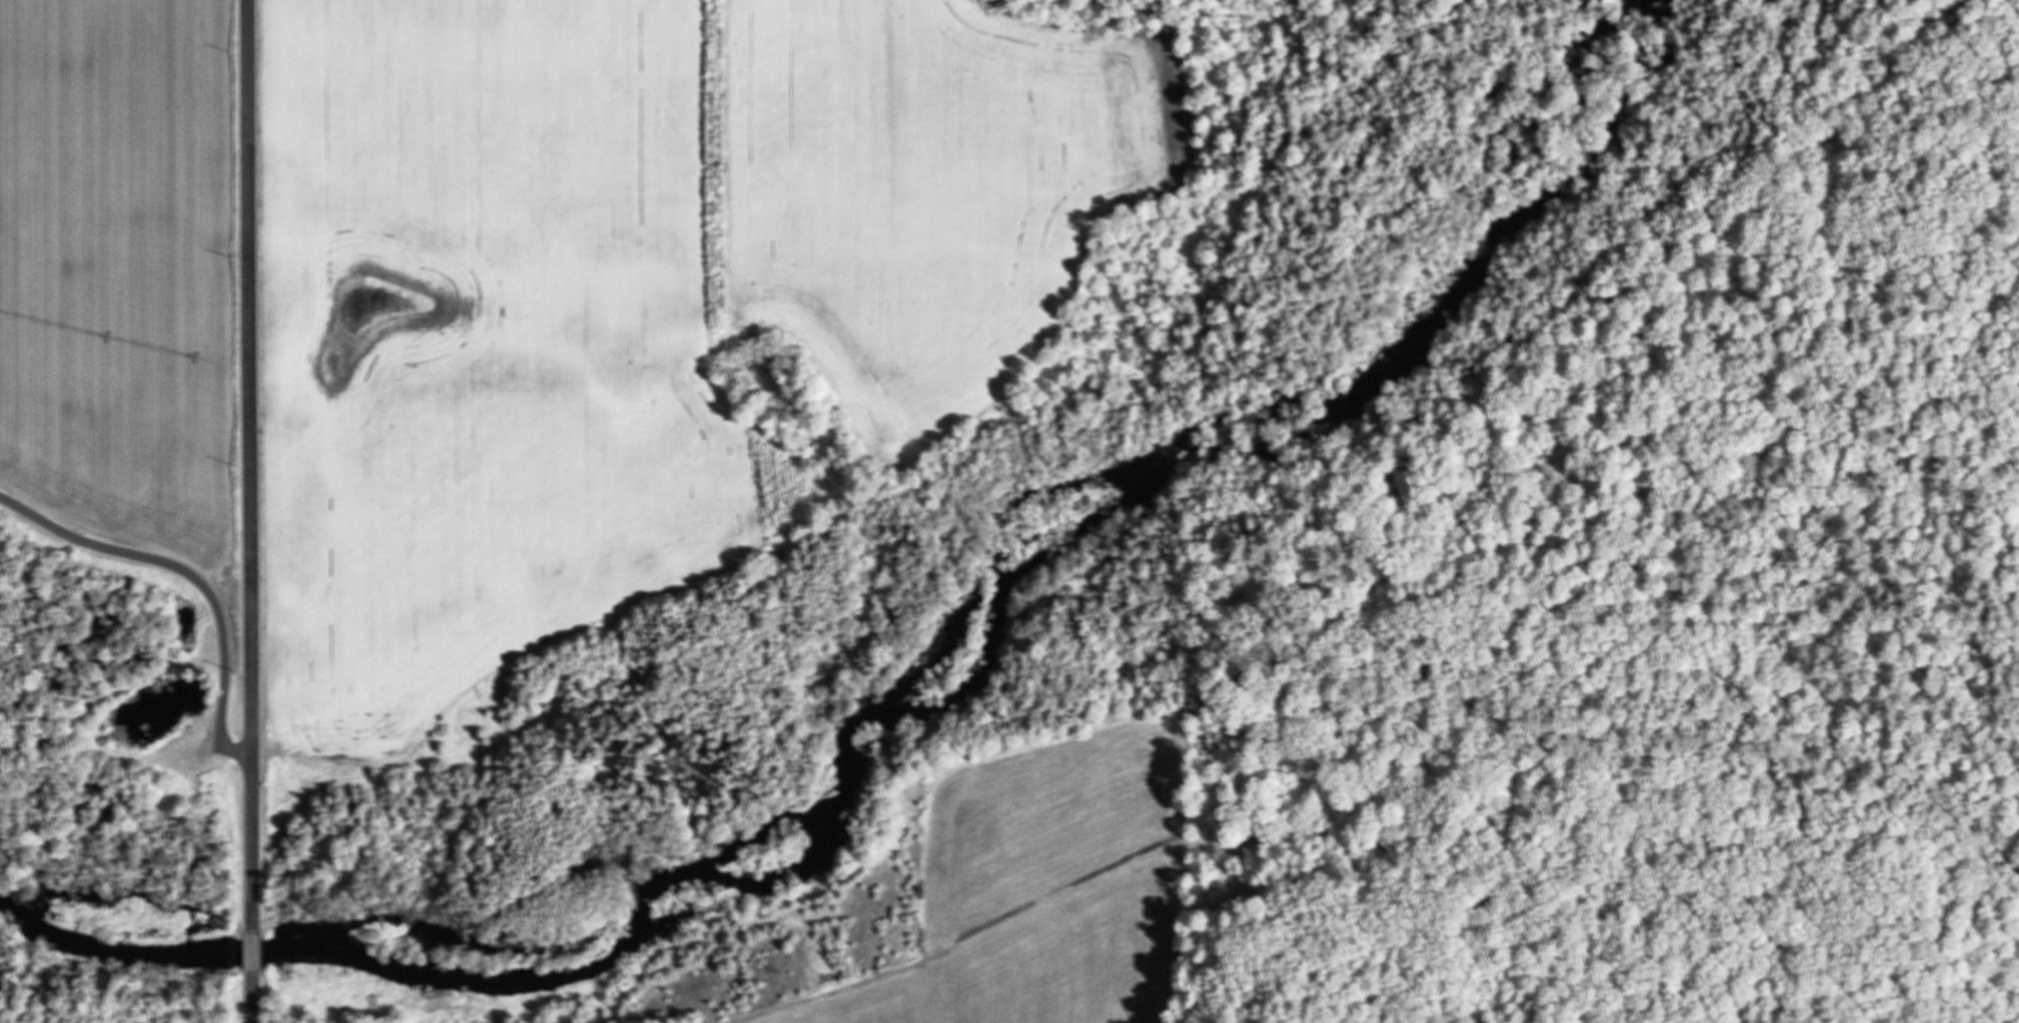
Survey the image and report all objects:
road: (252, 466)
road: (193, 574)
river: (919, 708)
road: (252, 951)
road: (252, 996)

